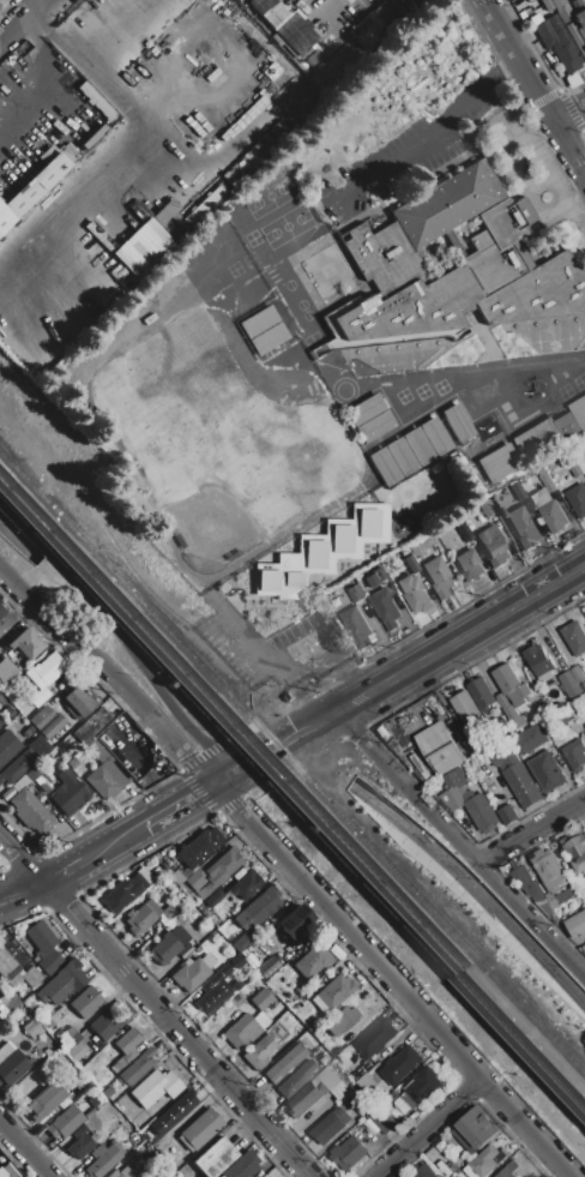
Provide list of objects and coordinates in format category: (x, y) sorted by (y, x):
building: (409, 2)
road: (28, 10)
road: (47, 10)
building: (372, 24)
building: (580, 24)
building: (287, 25)
building: (573, 35)
building: (557, 44)
road: (229, 68)
road: (536, 85)
building: (96, 101)
road: (572, 116)
road: (147, 124)
road: (432, 134)
building: (31, 190)
road: (71, 190)
building: (163, 212)
building: (132, 245)
building: (458, 271)
building: (259, 322)
park: (257, 332)
building: (269, 338)
building: (366, 410)
building: (579, 412)
building: (458, 424)
building: (567, 425)
building: (375, 427)
building: (435, 437)
building: (538, 440)
building: (418, 446)
building: (402, 457)
building: (499, 463)
building: (385, 467)
building: (577, 470)
building: (548, 484)
building: (518, 491)
building: (577, 499)
building: (487, 509)
building: (554, 516)
building: (523, 528)
building: (465, 534)
road: (23, 541)
building: (427, 541)
building: (493, 546)
building: (417, 550)
building: (321, 553)
building: (412, 565)
building: (469, 565)
building: (380, 575)
building: (438, 577)
building: (370, 581)
building: (414, 594)
road: (519, 606)
building: (384, 608)
building: (1, 611)
building: (356, 626)
road: (121, 632)
building: (574, 637)
road: (252, 639)
building: (28, 643)
road: (303, 650)
building: (538, 659)
railway: (254, 660)
building: (49, 668)
building: (6, 671)
road: (111, 672)
building: (577, 673)
road: (397, 679)
building: (569, 683)
building: (511, 684)
building: (481, 692)
road: (301, 693)
building: (38, 697)
building: (77, 704)
building: (466, 709)
building: (512, 711)
building: (563, 713)
building: (41, 717)
building: (1, 722)
building: (90, 725)
road: (319, 725)
building: (584, 725)
building: (52, 727)
building: (530, 738)
building: (7, 745)
building: (127, 745)
building: (474, 745)
building: (440, 747)
building: (574, 755)
road: (257, 761)
railway: (294, 764)
building: (18, 767)
building: (548, 771)
building: (454, 777)
building: (518, 777)
building: (105, 780)
railway: (292, 782)
building: (19, 783)
building: (42, 783)
building: (68, 793)
railway: (292, 798)
road: (179, 804)
building: (480, 810)
building: (31, 812)
building: (507, 813)
road: (533, 831)
road: (113, 841)
road: (463, 842)
building: (199, 847)
building: (577, 852)
building: (548, 867)
road: (61, 870)
building: (215, 872)
building: (144, 875)
building: (527, 882)
building: (245, 885)
road: (475, 888)
road: (20, 890)
building: (123, 894)
building: (566, 895)
building: (213, 897)
building: (258, 908)
building: (170, 911)
building: (141, 917)
building: (294, 921)
building: (577, 924)
building: (41, 937)
building: (245, 943)
building: (168, 944)
building: (583, 945)
building: (49, 962)
building: (236, 962)
building: (313, 962)
building: (7, 966)
building: (193, 973)
building: (31, 977)
building: (218, 978)
road: (396, 980)
building: (62, 981)
building: (333, 993)
building: (212, 998)
building: (261, 999)
building: (86, 1002)
road: (156, 1007)
building: (396, 1019)
building: (343, 1021)
building: (105, 1025)
building: (32, 1029)
building: (241, 1033)
building: (376, 1037)
building: (70, 1038)
building: (128, 1045)
building: (259, 1051)
building: (284, 1063)
building: (11, 1064)
building: (400, 1064)
building: (138, 1067)
building: (375, 1069)
building: (296, 1079)
building: (326, 1080)
building: (80, 1082)
building: (366, 1082)
building: (156, 1087)
building: (420, 1088)
building: (108, 1092)
building: (304, 1099)
building: (96, 1100)
building: (44, 1101)
building: (173, 1112)
building: (394, 1119)
building: (65, 1123)
building: (332, 1124)
building: (382, 1124)
road: (433, 1128)
building: (200, 1130)
building: (474, 1131)
building: (80, 1143)
road: (23, 1151)
building: (348, 1153)
building: (212, 1158)
building: (436, 1158)
building: (101, 1160)
building: (483, 1163)
building: (242, 1166)
building: (508, 1169)
building: (131, 1170)
building: (424, 1171)
building: (2, 1175)
building: (153, 1175)
building: (20, 1176)
building: (527, 1176)

